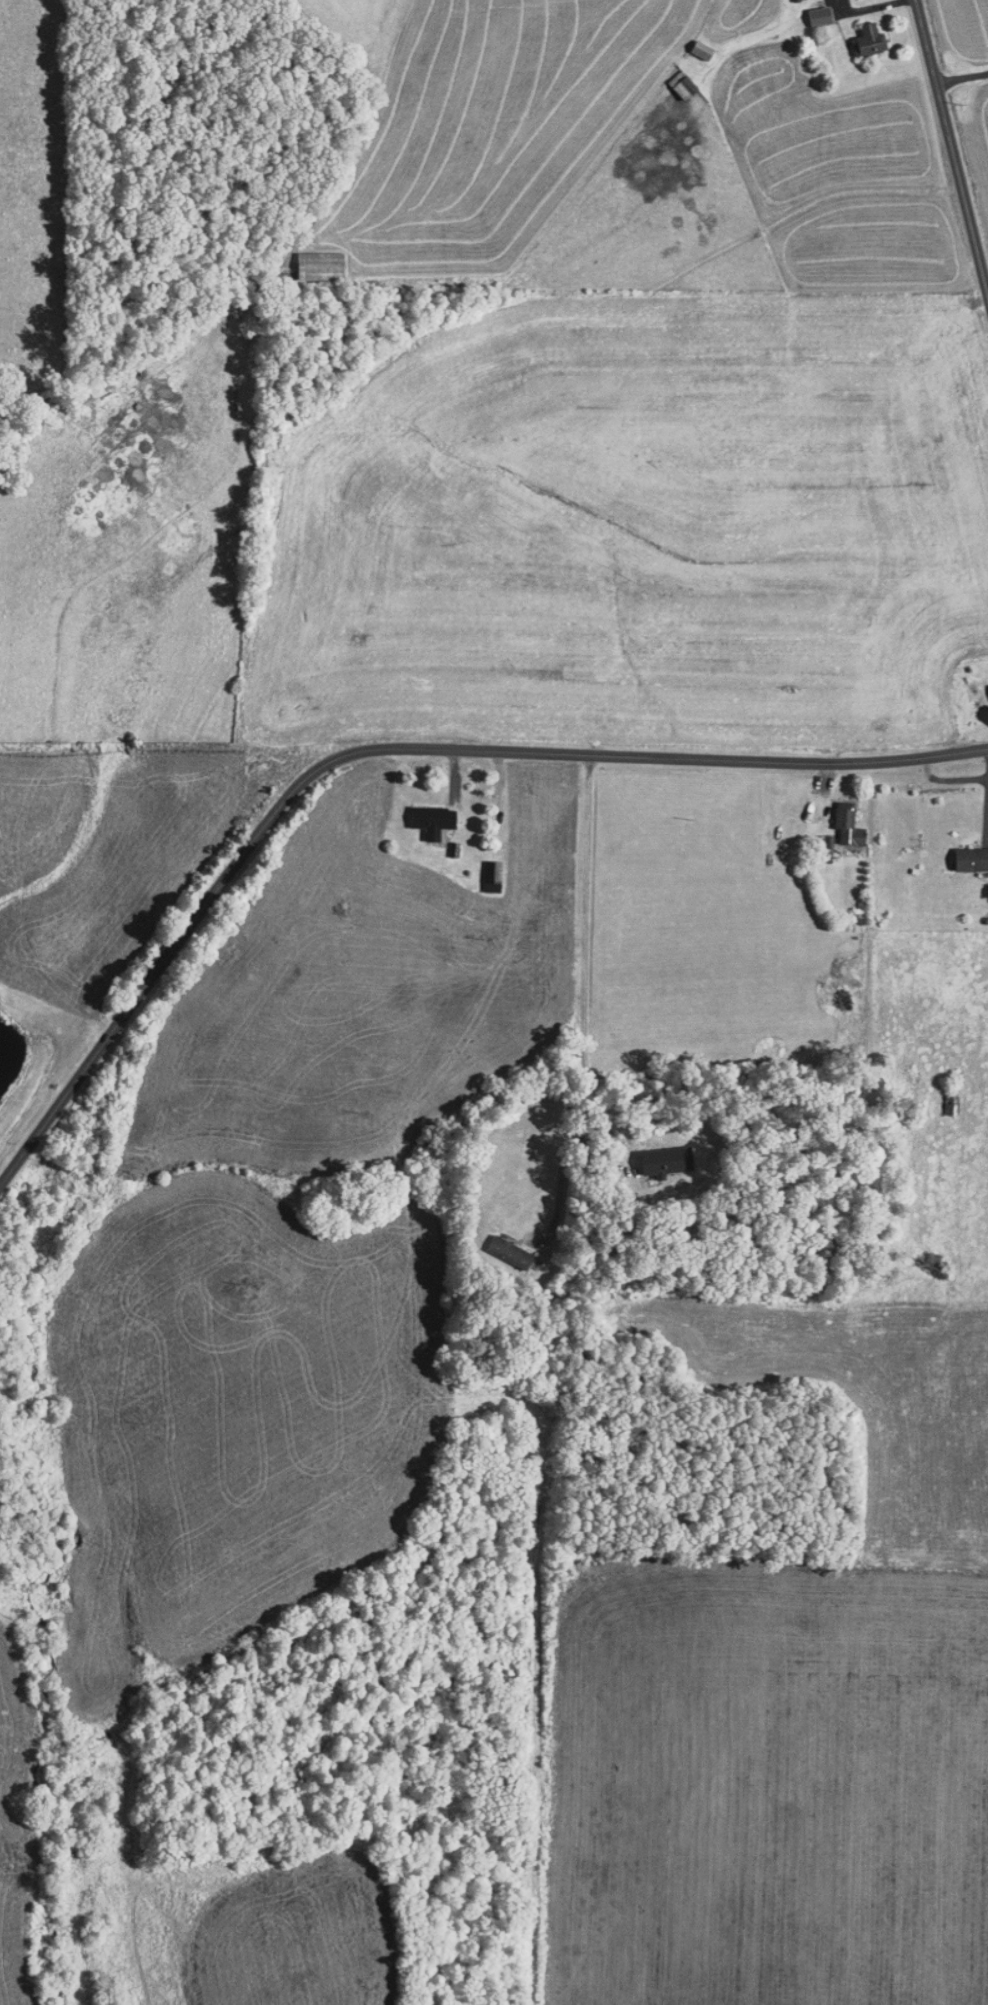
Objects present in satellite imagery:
building: (808, 9)
building: (859, 33)
building: (690, 44)
road: (961, 77)
building: (671, 79)
road: (950, 150)
building: (308, 259)
building: (984, 685)
road: (390, 749)
building: (421, 814)
building: (836, 818)
building: (964, 852)
building: (481, 869)
road: (584, 1001)
building: (654, 1154)
building: (498, 1245)

